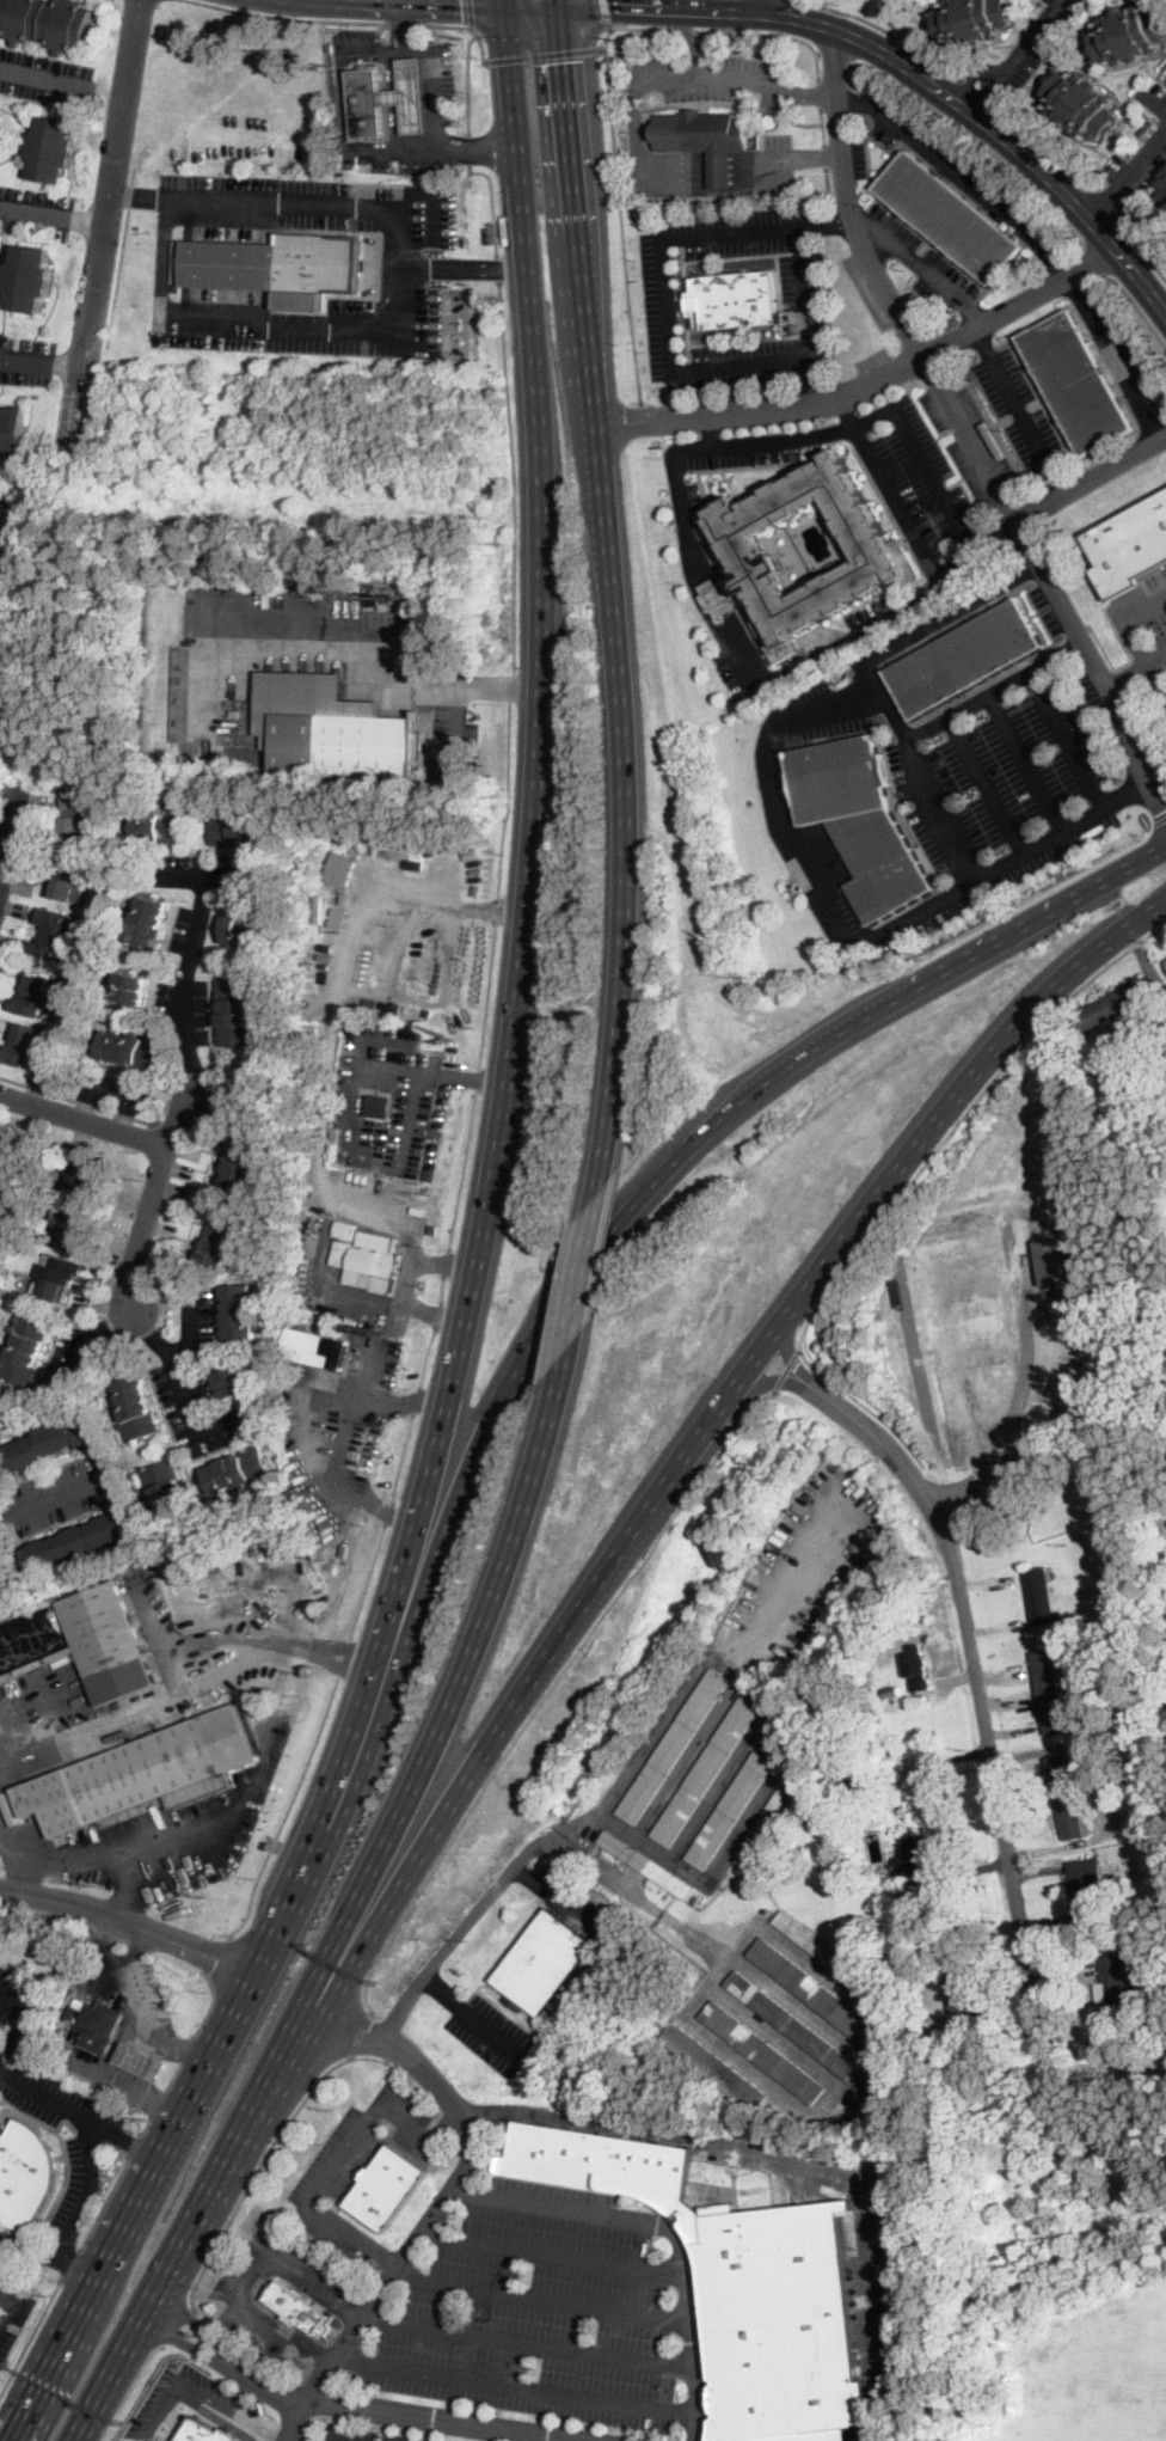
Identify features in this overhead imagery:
road: (594, 4)
road: (399, 5)
traffic signals: (614, 7)
road: (766, 7)
traffic signals: (460, 8)
road: (530, 12)
road: (582, 12)
road: (605, 13)
road: (290, 14)
road: (471, 14)
building: (972, 20)
road: (405, 22)
building: (48, 23)
road: (405, 26)
road: (467, 26)
road: (686, 30)
road: (688, 30)
road: (702, 30)
road: (884, 30)
road: (720, 31)
road: (716, 33)
building: (1128, 35)
road: (787, 36)
road: (1020, 47)
parking lot: (1031, 49)
road: (429, 51)
road: (546, 55)
road: (835, 59)
traffic signals: (566, 61)
building: (1165, 71)
parking lot: (47, 77)
road: (43, 78)
road: (925, 79)
parking lot: (714, 81)
road: (468, 82)
road: (634, 88)
road: (820, 91)
road: (803, 92)
road: (978, 92)
building: (411, 97)
gas station: (411, 97)
road: (342, 100)
road: (972, 100)
building: (367, 104)
building: (1080, 105)
road: (1154, 105)
road: (823, 126)
building: (1147, 128)
building: (700, 131)
road: (977, 140)
road: (1042, 143)
road: (395, 147)
road: (468, 148)
building: (50, 149)
road: (474, 149)
parking lot: (1146, 152)
road: (707, 154)
road: (798, 157)
parking lot: (858, 158)
road: (706, 160)
parking lot: (951, 164)
parking lot: (777, 165)
building: (720, 169)
road: (706, 170)
building: (340, 175)
road: (962, 176)
road: (706, 177)
road: (1130, 179)
road: (618, 181)
road: (705, 185)
building: (1160, 185)
road: (135, 192)
road: (162, 196)
road: (283, 201)
road: (491, 201)
parking lot: (35, 207)
road: (1104, 207)
road: (54, 212)
road: (579, 212)
building: (947, 218)
road: (828, 225)
road: (105, 230)
road: (857, 235)
road: (1143, 253)
road: (162, 256)
road: (1098, 259)
parking lot: (922, 263)
parking lot: (311, 264)
road: (462, 264)
road: (497, 265)
building: (278, 267)
road: (399, 268)
road: (922, 269)
road: (115, 274)
road: (452, 277)
building: (30, 280)
building: (735, 299)
parking lot: (661, 300)
road: (1020, 304)
road: (1140, 304)
parking lot: (808, 307)
road: (280, 323)
parking lot: (1119, 350)
parking lot: (26, 359)
road: (811, 359)
road: (1113, 359)
road: (43, 365)
road: (815, 378)
building: (1074, 383)
road: (848, 409)
road: (1020, 410)
road: (766, 411)
parking lot: (1020, 412)
building: (12, 430)
road: (708, 432)
road: (513, 473)
road: (602, 477)
road: (1092, 478)
parking lot: (925, 494)
parking lot: (685, 495)
road: (995, 532)
building: (5, 537)
building: (1129, 542)
building: (883, 556)
road: (963, 556)
road: (1045, 571)
road: (1014, 579)
road: (711, 586)
building: (374, 601)
building: (386, 607)
parking lot: (1050, 608)
parking lot: (873, 613)
road: (1149, 617)
road: (1103, 649)
road: (332, 654)
road: (1060, 657)
building: (965, 659)
road: (1137, 672)
parking lot: (747, 674)
road: (1119, 680)
road: (490, 685)
road: (513, 685)
parking lot: (1091, 686)
road: (889, 706)
road: (1146, 728)
building: (333, 729)
road: (783, 732)
road: (903, 750)
road: (1026, 764)
road: (988, 785)
parking lot: (974, 789)
road: (1134, 790)
road: (508, 796)
building: (80, 815)
building: (859, 820)
road: (1160, 822)
road: (10, 824)
building: (158, 827)
building: (235, 828)
road: (528, 855)
road: (627, 861)
building: (342, 869)
building: (69, 876)
road: (398, 893)
road: (495, 910)
road: (921, 912)
road: (1039, 912)
building: (147, 922)
building: (243, 929)
building: (54, 935)
building: (1165, 958)
building: (364, 967)
road: (1146, 967)
building: (307, 971)
building: (130, 989)
building: (35, 996)
road: (485, 996)
building: (360, 998)
building: (1107, 1008)
building: (237, 1013)
building: (307, 1029)
road: (1134, 1046)
building: (24, 1047)
building: (130, 1051)
road: (475, 1076)
road: (196, 1100)
road: (79, 1101)
building: (379, 1105)
road: (352, 1108)
road: (84, 1121)
road: (922, 1136)
building: (4, 1148)
road: (461, 1167)
building: (240, 1173)
building: (87, 1174)
road: (910, 1186)
building: (419, 1211)
building: (73, 1224)
building: (345, 1229)
building: (376, 1240)
building: (221, 1246)
building: (340, 1253)
building: (1051, 1259)
road: (444, 1261)
building: (374, 1270)
building: (342, 1272)
road: (584, 1272)
building: (59, 1277)
road: (570, 1284)
road: (441, 1287)
building: (239, 1311)
road: (436, 1315)
road: (188, 1323)
road: (90, 1336)
building: (313, 1347)
road: (786, 1348)
building: (25, 1350)
road: (800, 1352)
road: (425, 1358)
parking lot: (171, 1366)
road: (785, 1369)
road: (762, 1378)
road: (1020, 1379)
building: (234, 1382)
road: (182, 1384)
road: (415, 1397)
building: (135, 1409)
parking lot: (340, 1431)
road: (344, 1439)
building: (50, 1443)
road: (400, 1455)
building: (238, 1473)
building: (166, 1487)
road: (48, 1498)
road: (387, 1511)
building: (76, 1542)
road: (367, 1579)
building: (1039, 1596)
building: (109, 1642)
road: (197, 1644)
building: (1110, 1645)
parking lot: (178, 1646)
road: (344, 1656)
building: (916, 1668)
road: (978, 1681)
road: (551, 1686)
road: (185, 1690)
building: (890, 1690)
building: (1049, 1691)
road: (444, 1713)
road: (496, 1732)
building: (673, 1746)
building: (706, 1772)
building: (143, 1774)
building: (852, 1780)
building: (1067, 1798)
road: (612, 1799)
building: (730, 1810)
road: (287, 1813)
road: (229, 1818)
building: (766, 1824)
parking lot: (172, 1833)
road: (22, 1848)
road: (105, 1858)
building: (918, 1861)
building: (645, 1864)
building: (898, 1866)
building: (1087, 1886)
road: (552, 1899)
parking lot: (567, 1901)
road: (128, 1922)
road: (134, 1944)
building: (828, 1956)
road: (220, 1957)
building: (542, 1964)
building: (1113, 1984)
building: (814, 1993)
building: (961, 1994)
road: (211, 2000)
road: (472, 2014)
road: (22, 2020)
road: (128, 2023)
building: (98, 2026)
road: (357, 2031)
parking lot: (492, 2035)
building: (945, 2037)
road: (168, 2038)
building: (809, 2039)
road: (184, 2047)
building: (761, 2052)
building: (139, 2060)
gas station: (139, 2060)
building: (712, 2067)
road: (172, 2073)
road: (198, 2075)
road: (158, 2100)
road: (54, 2102)
parking lot: (53, 2103)
road: (146, 2123)
road: (134, 2142)
road: (135, 2143)
road: (263, 2154)
road: (792, 2161)
road: (339, 2162)
parking lot: (358, 2166)
building: (25, 2174)
building: (388, 2188)
road: (447, 2200)
road: (104, 2201)
road: (75, 2219)
road: (667, 2232)
parking lot: (8, 2245)
road: (183, 2253)
road: (553, 2255)
road: (79, 2259)
road: (69, 2260)
road: (250, 2271)
building: (737, 2286)
parking lot: (231, 2294)
road: (6, 2295)
road: (544, 2298)
road: (6, 2308)
building: (299, 2310)
road: (194, 2321)
road: (177, 2325)
parking lot: (533, 2330)
road: (29, 2333)
road: (183, 2337)
parking lot: (5, 2339)
road: (529, 2339)
road: (265, 2380)
road: (515, 2386)
road: (130, 2390)
road: (196, 2392)
parking lot: (222, 2399)
road: (444, 2422)
building: (204, 2433)
road: (1, 2440)

